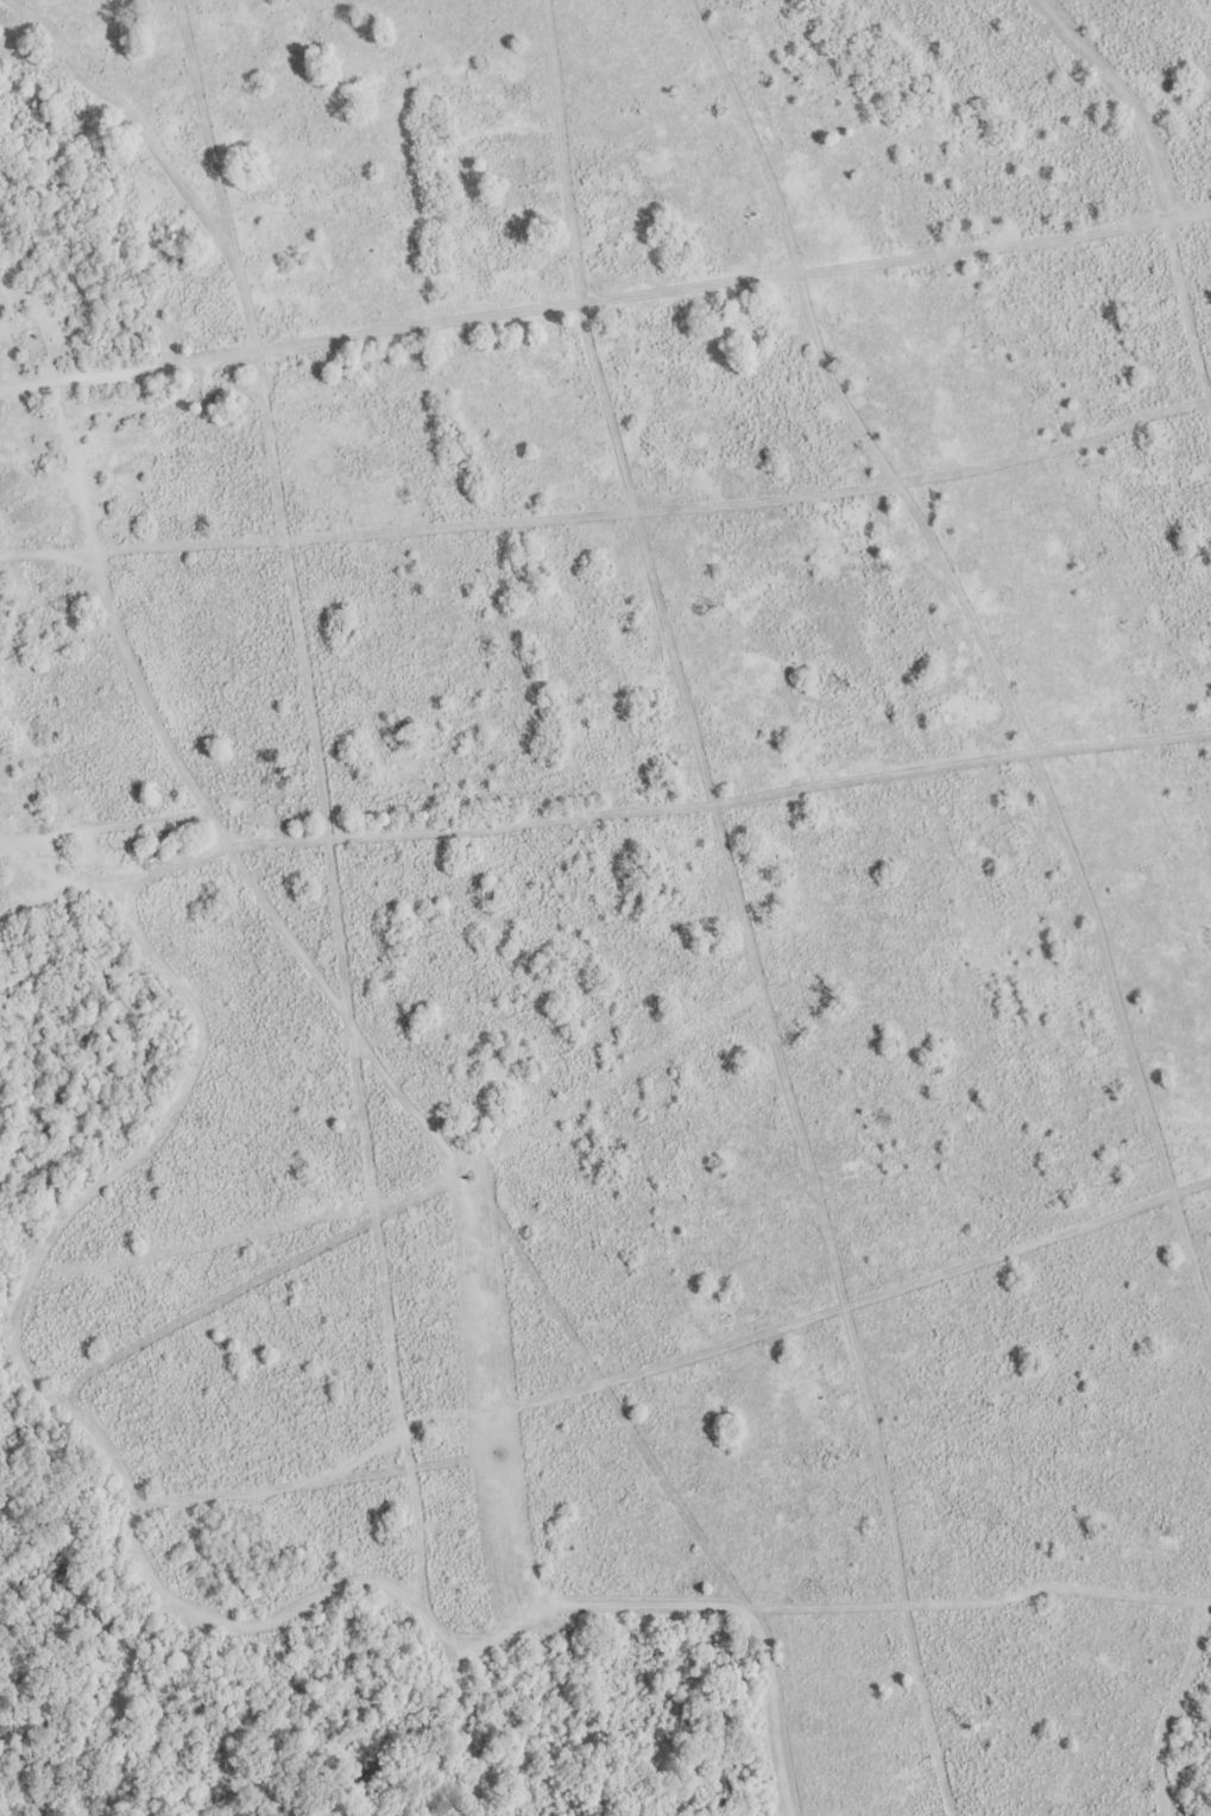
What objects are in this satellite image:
road: (206, 182)
road: (604, 305)
road: (613, 1212)

